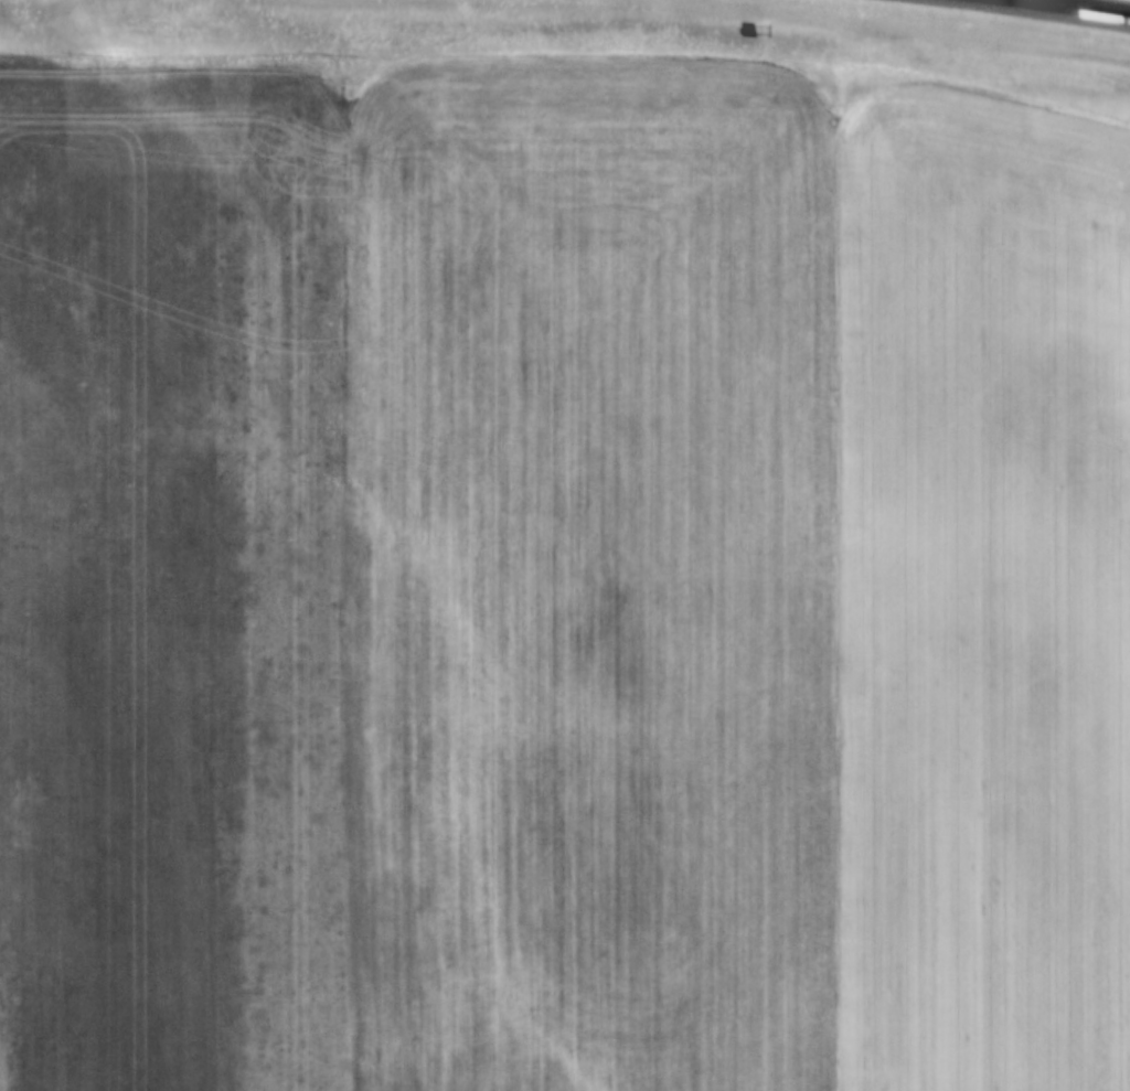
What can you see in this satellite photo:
road: (1044, 11)

